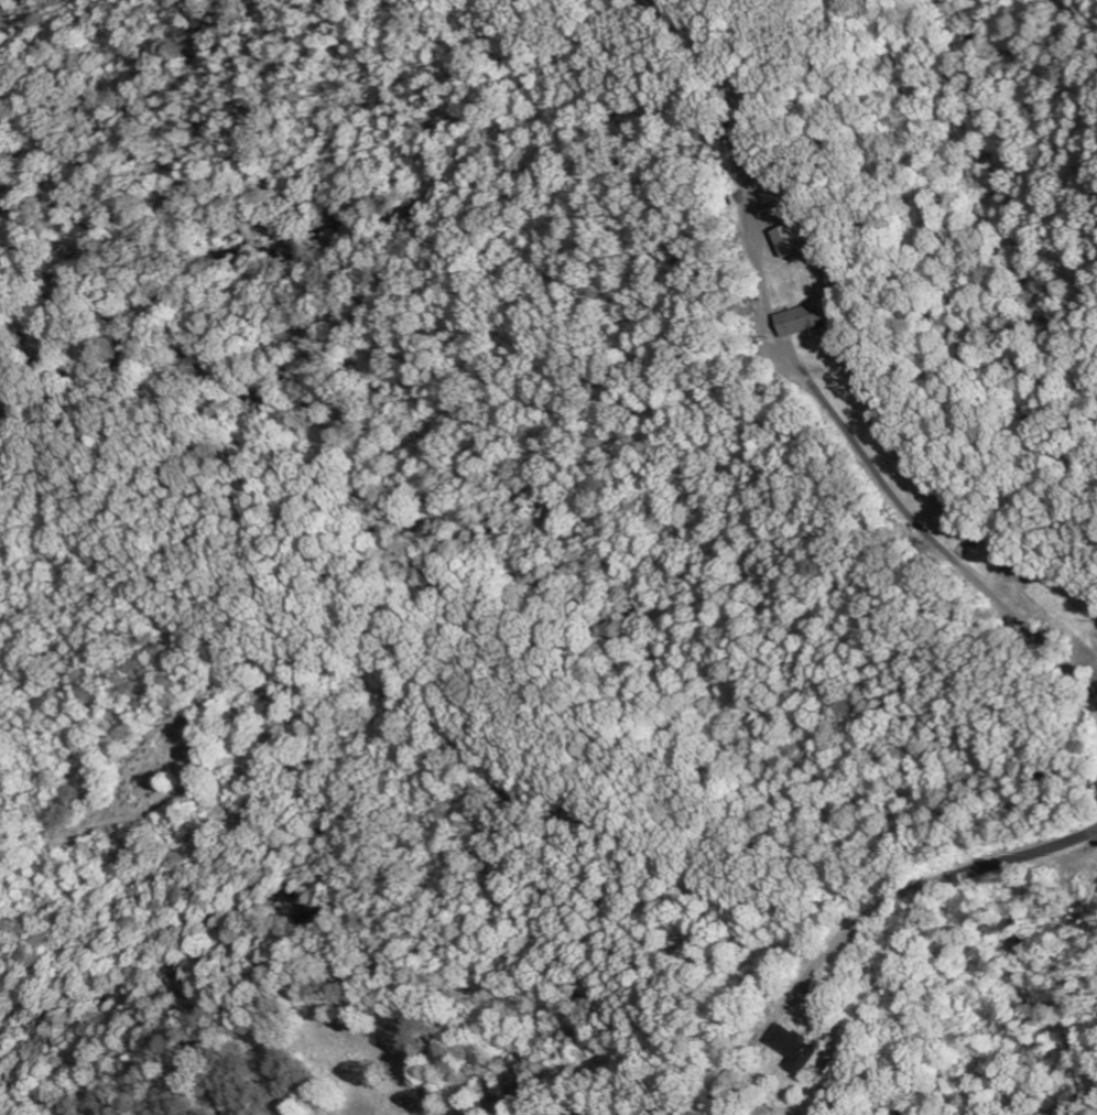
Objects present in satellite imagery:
building: (803, 241)
building: (814, 321)
road: (916, 919)
building: (808, 1050)

